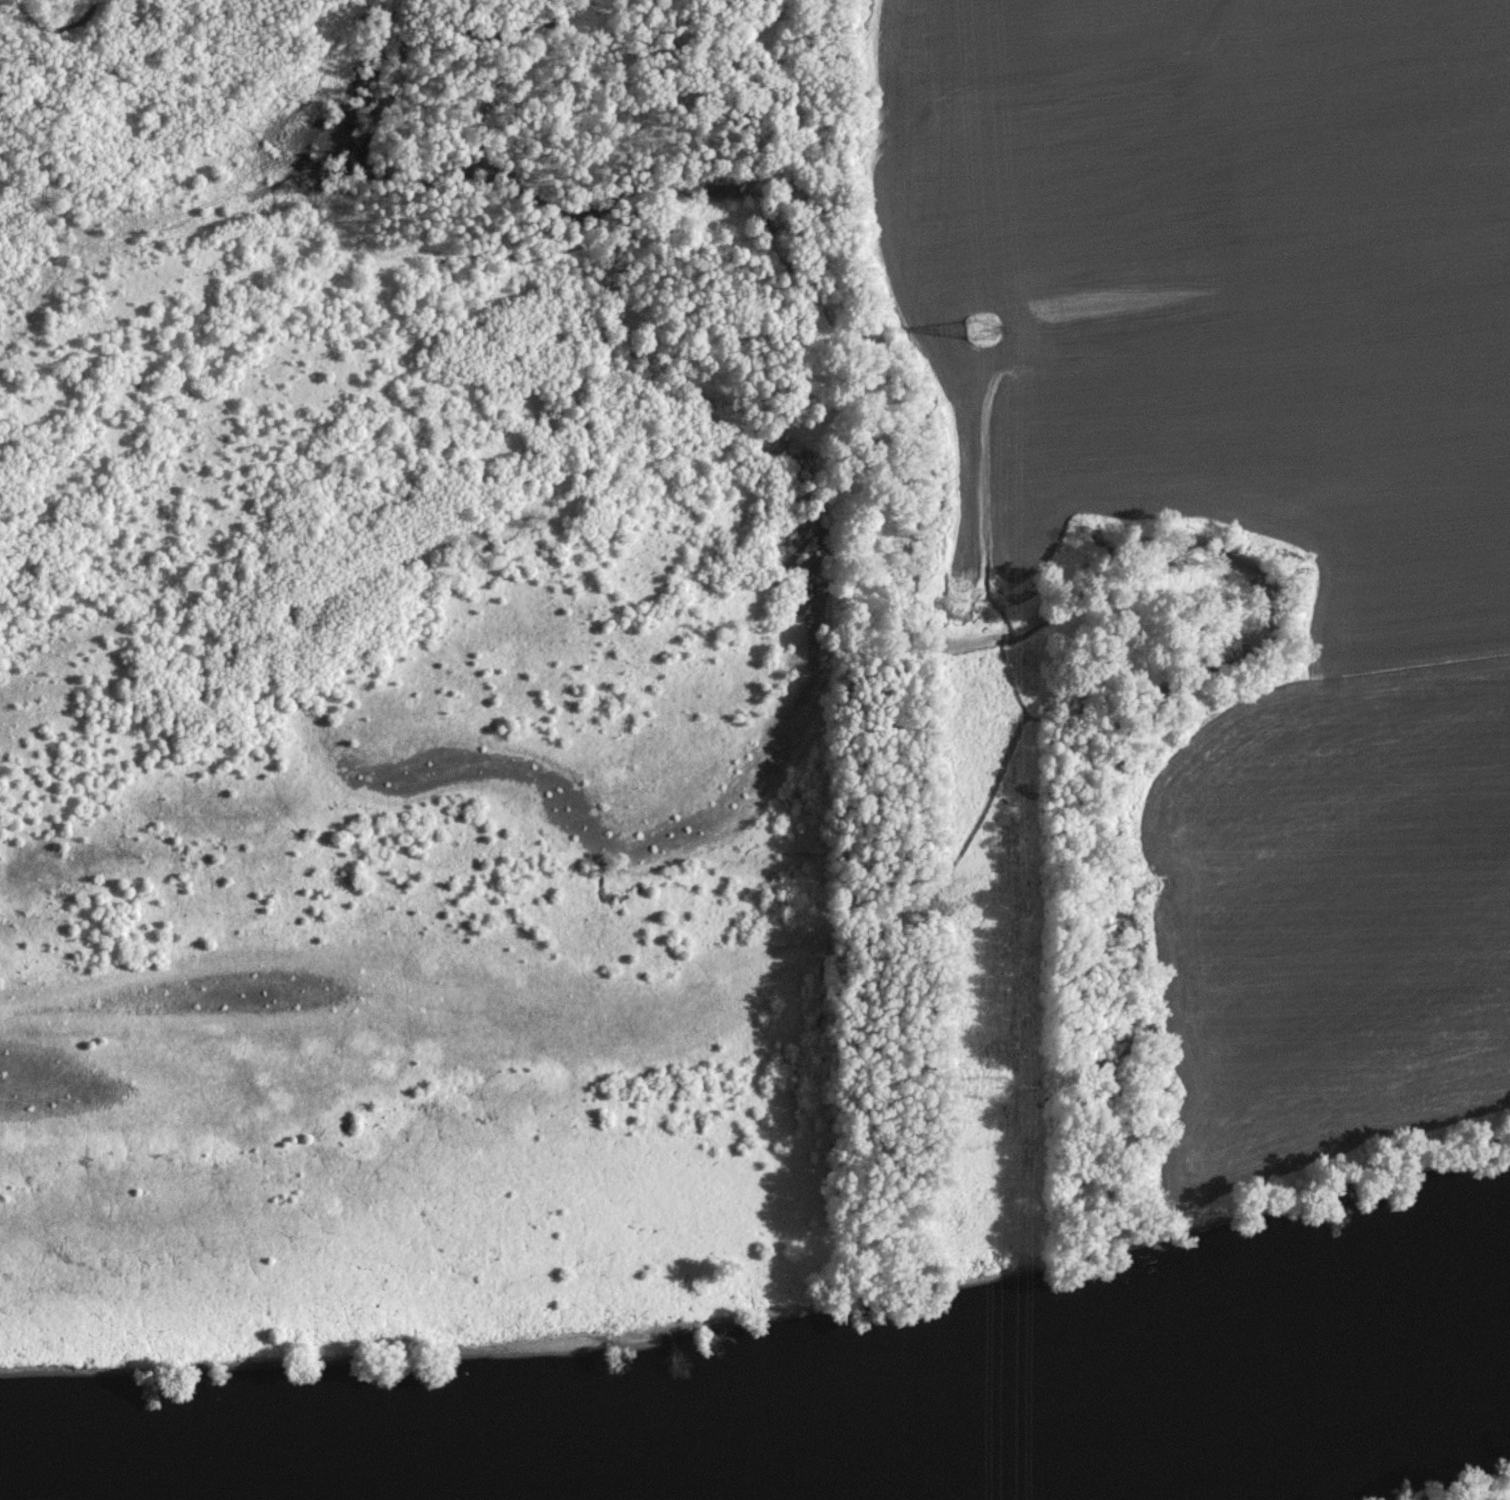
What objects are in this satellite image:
power tower: (988, 330)
power tower: (998, 1089)
river: (910, 1414)

